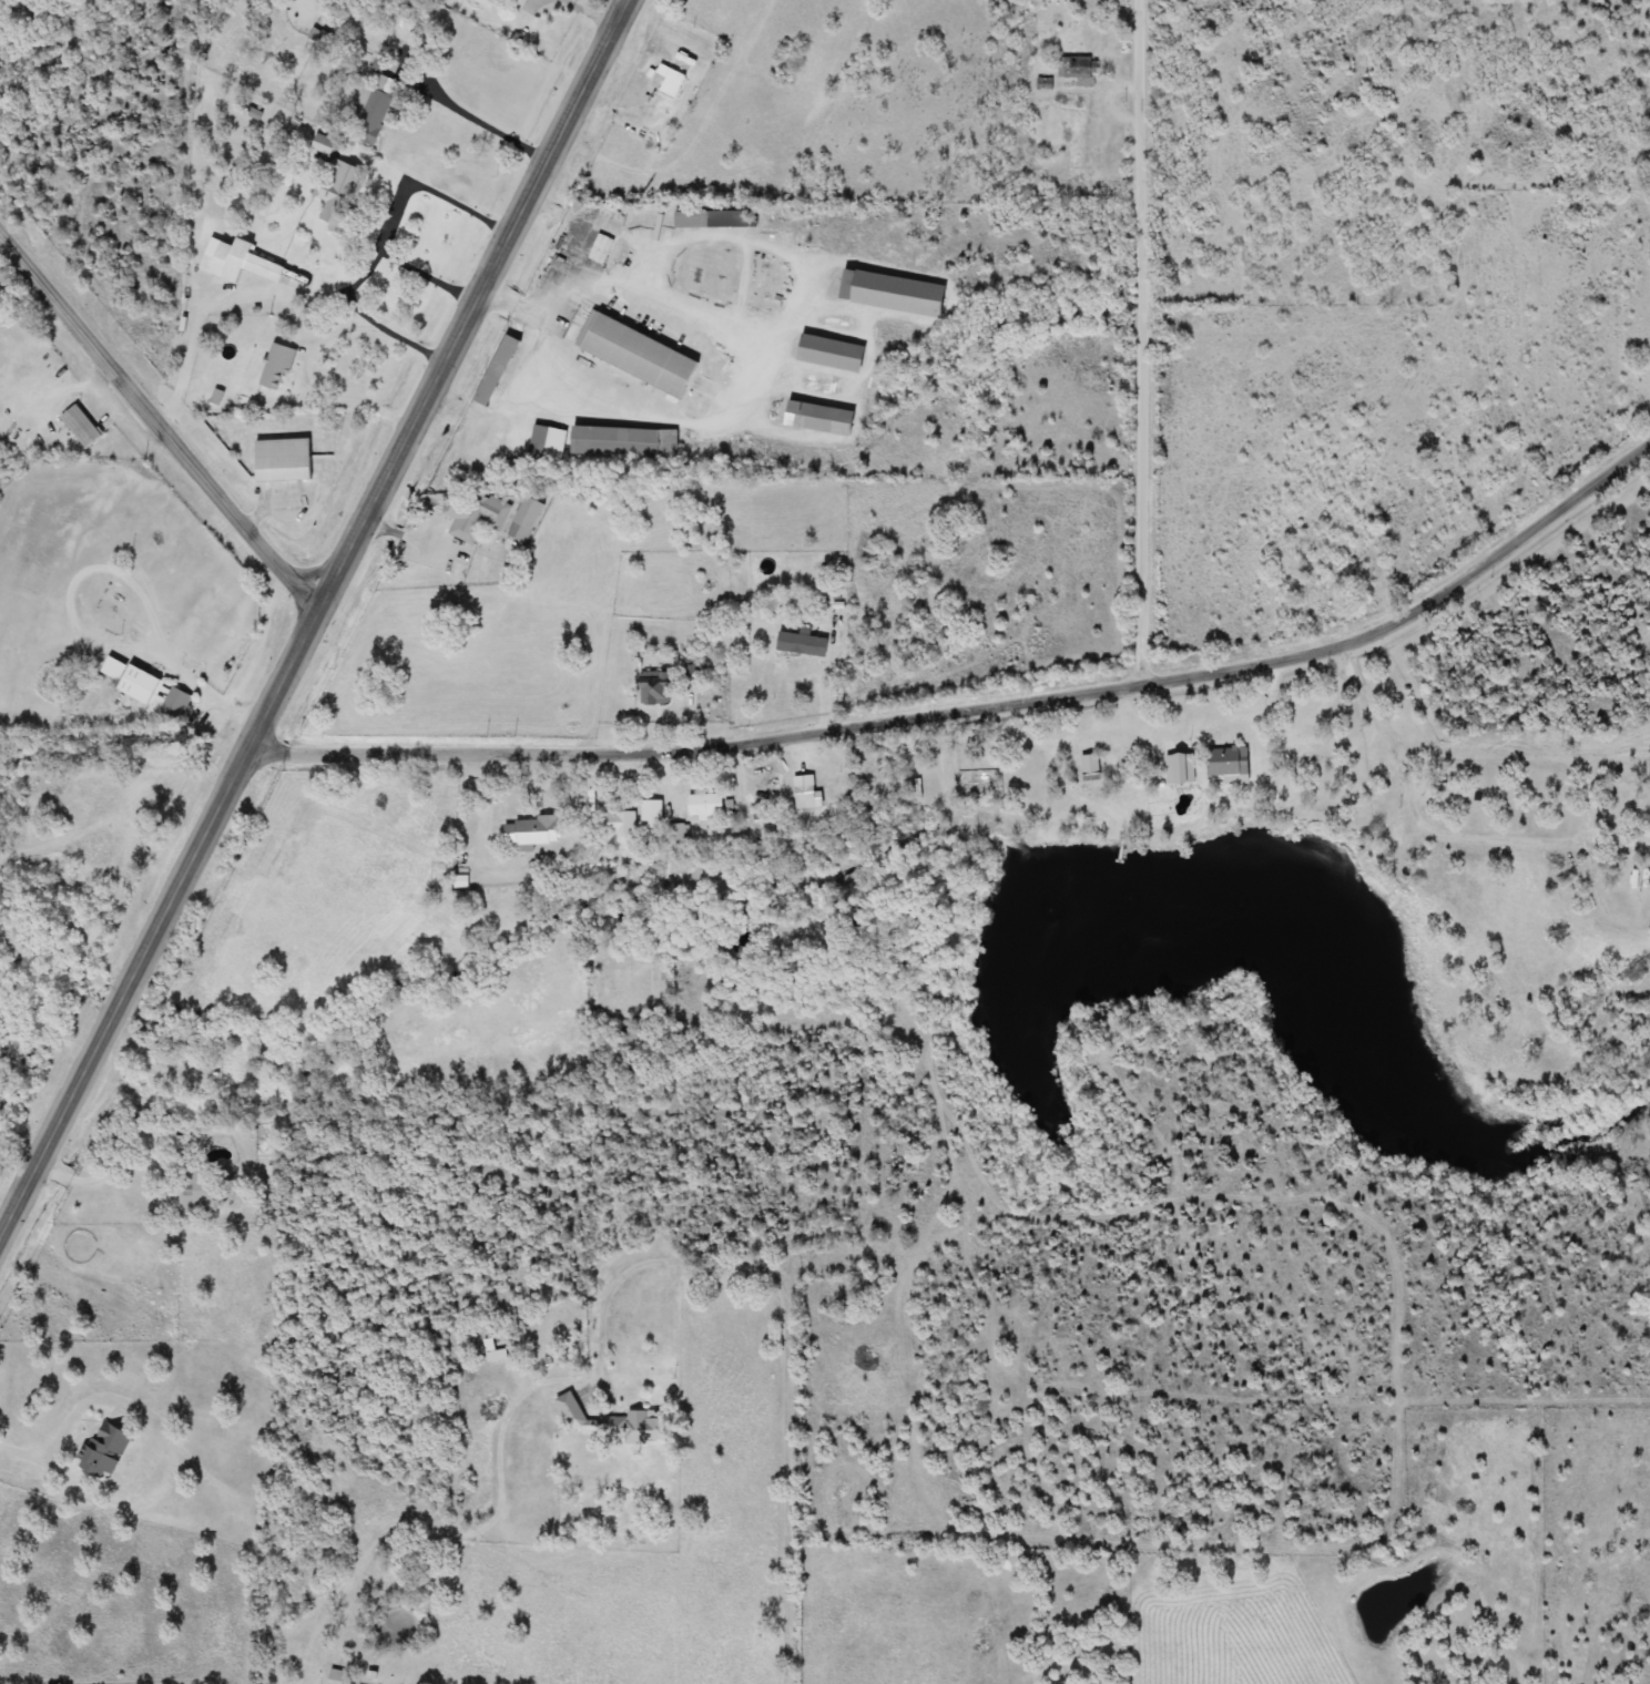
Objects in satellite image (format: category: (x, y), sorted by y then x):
building: (489, 4)
road: (691, 39)
building: (1074, 67)
building: (669, 84)
building: (373, 111)
road: (488, 122)
building: (335, 194)
road: (445, 196)
road: (540, 207)
road: (558, 214)
building: (702, 220)
building: (598, 249)
road: (399, 259)
building: (234, 264)
road: (633, 269)
building: (886, 293)
road: (496, 294)
road: (478, 302)
road: (215, 304)
road: (516, 304)
road: (369, 317)
road: (1143, 339)
building: (823, 353)
building: (631, 355)
building: (273, 368)
building: (490, 371)
road: (310, 384)
building: (812, 418)
road: (161, 421)
building: (77, 426)
building: (609, 441)
building: (543, 446)
building: (284, 468)
building: (495, 517)
railway: (327, 652)
building: (689, 670)
building: (128, 682)
road: (1403, 684)
building: (651, 688)
road: (1388, 695)
road: (981, 702)
building: (173, 706)
road: (1469, 744)
road: (125, 752)
building: (1359, 776)
building: (969, 779)
building: (1188, 785)
building: (803, 795)
building: (1621, 797)
building: (707, 806)
building: (617, 824)
building: (527, 833)
road: (1487, 835)
road: (1595, 855)
building: (1630, 904)
road: (163, 921)
road: (1558, 936)
road: (20, 1154)
road: (1205, 1194)
road: (506, 1417)
building: (608, 1422)
road: (68, 1426)
road: (790, 1478)
building: (340, 1676)

